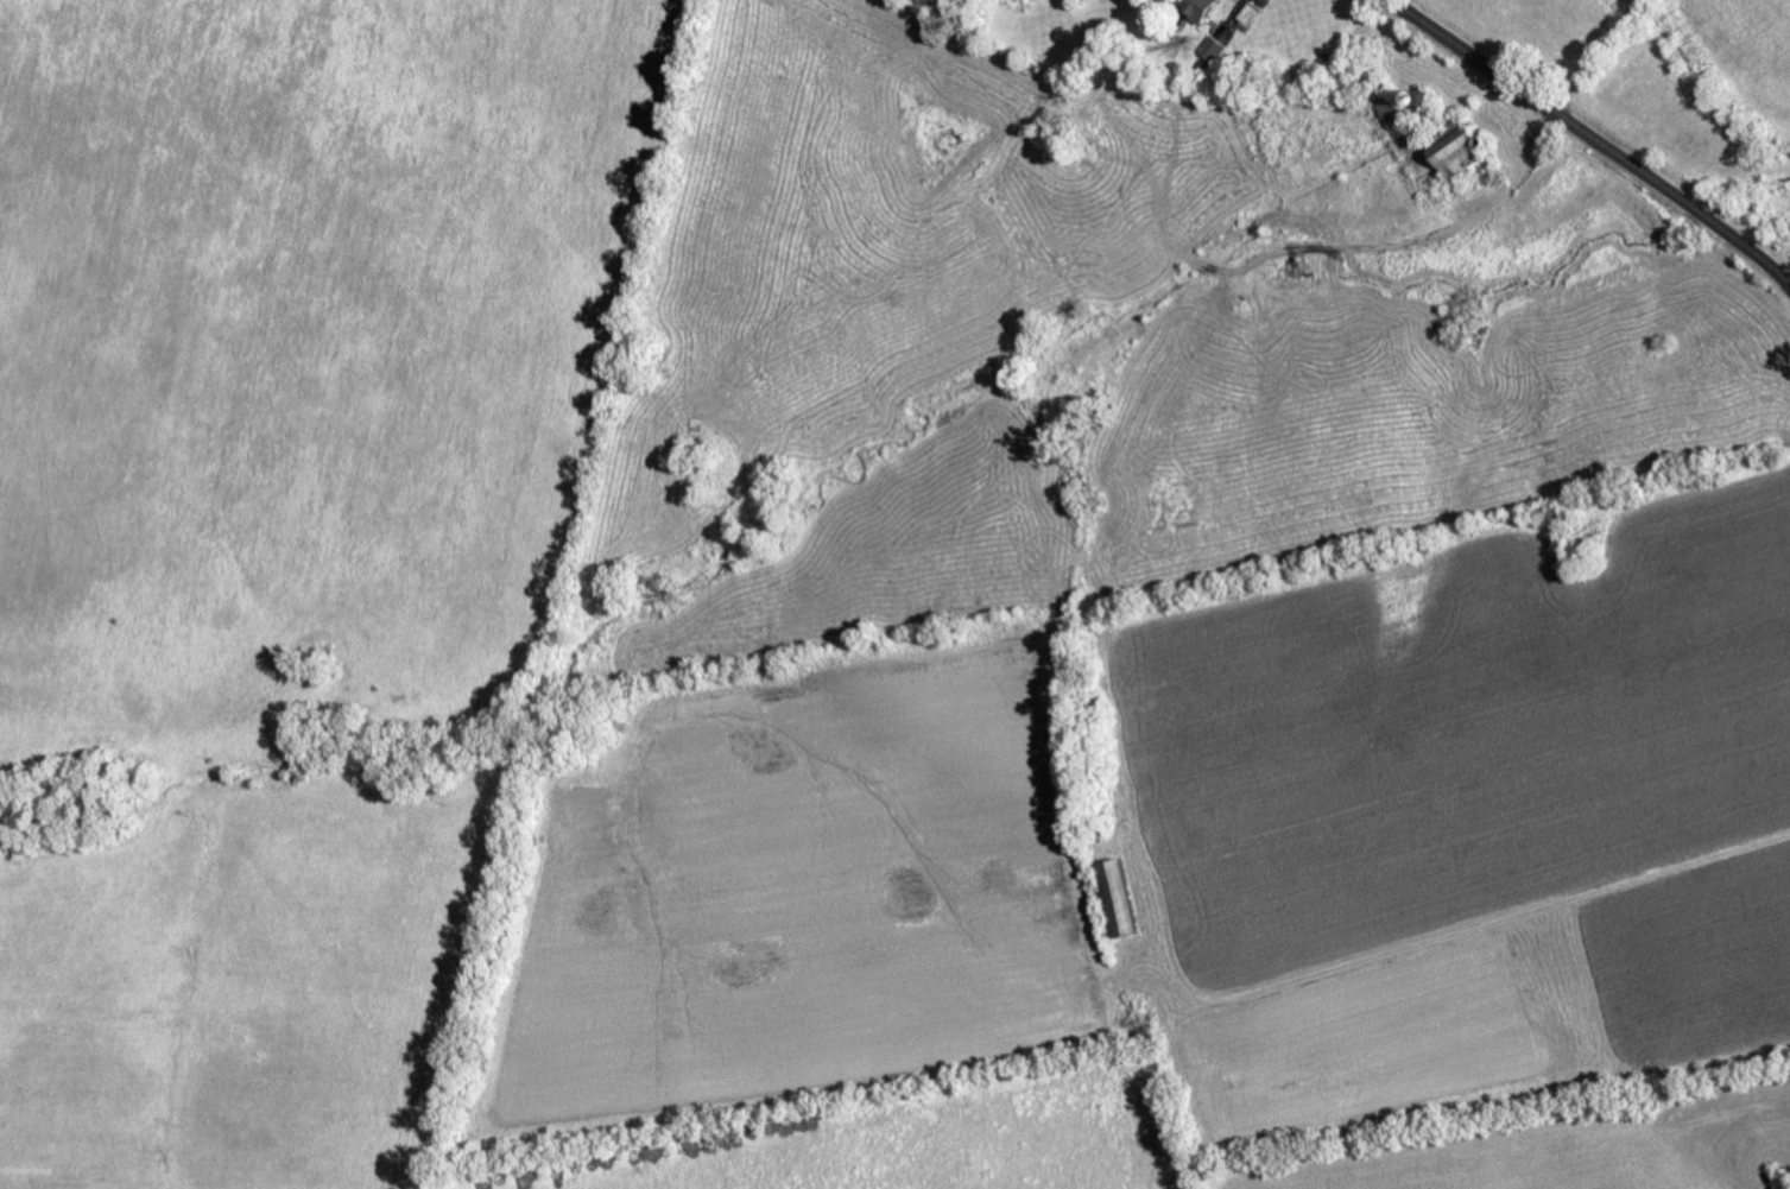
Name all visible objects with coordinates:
building: (1076, 0)
building: (1194, 7)
road: (1592, 55)
road: (1593, 139)
building: (1451, 146)
road: (1221, 346)

